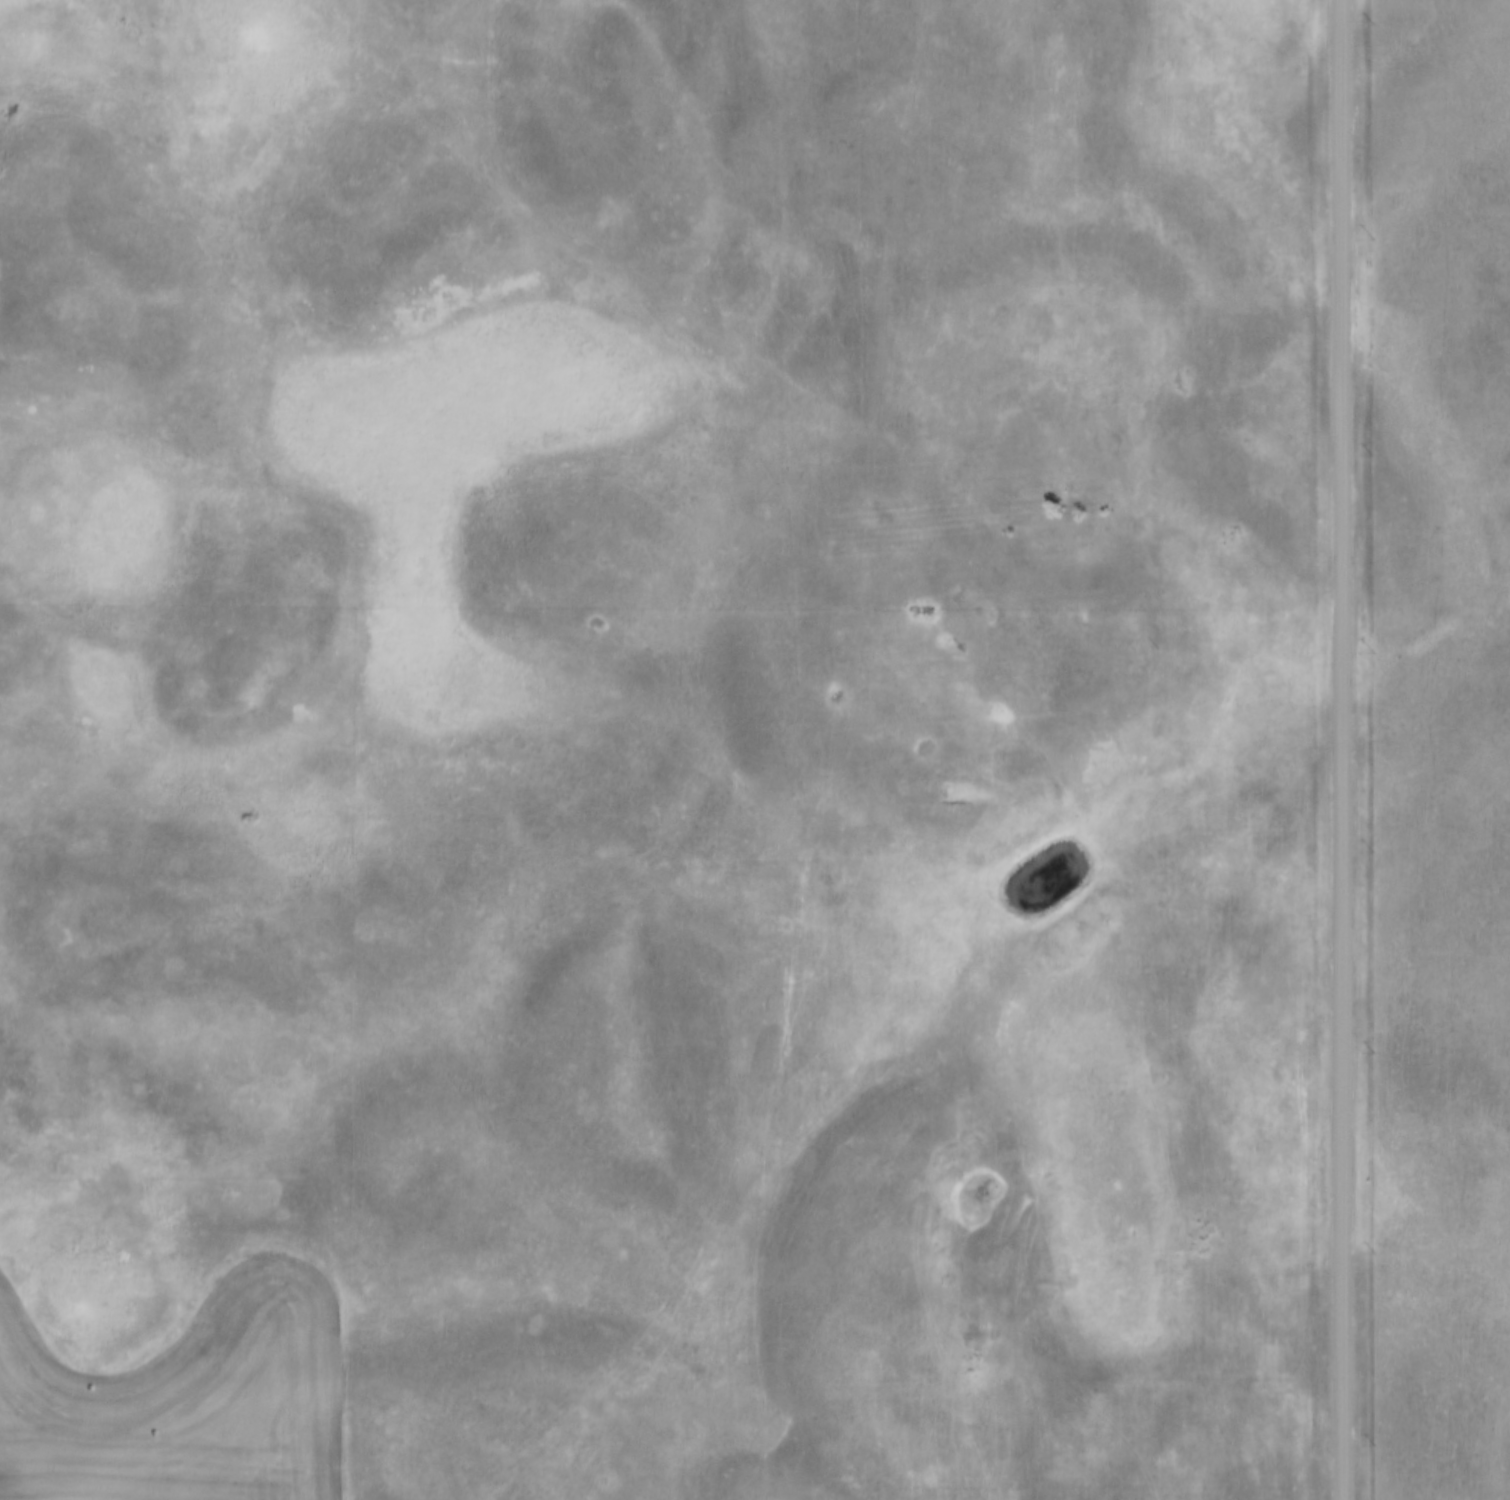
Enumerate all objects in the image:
road: (1343, 749)

